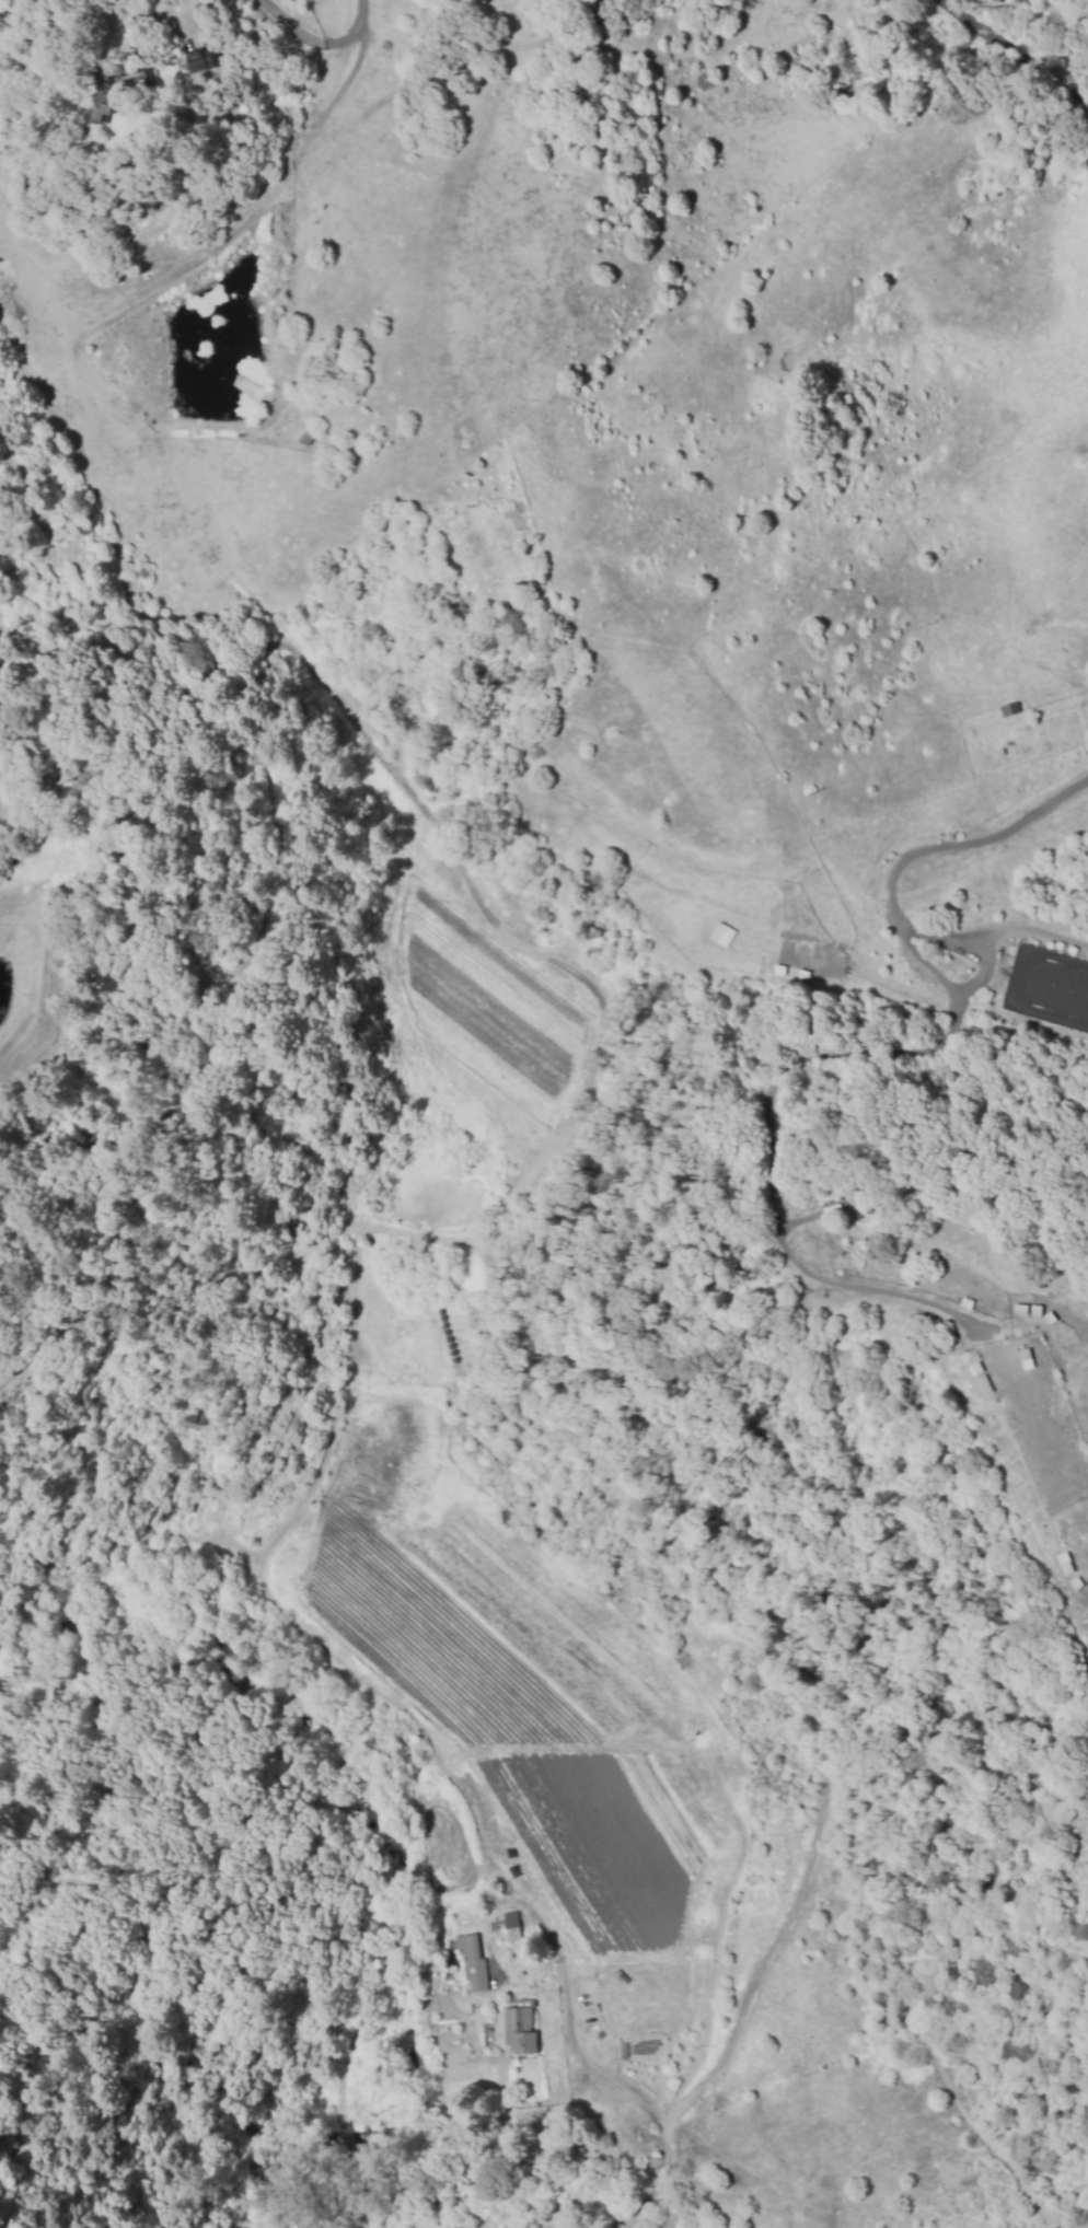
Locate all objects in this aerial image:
road: (1020, 53)
building: (200, 60)
building: (99, 112)
building: (1009, 710)
building: (720, 935)
building: (778, 971)
building: (801, 975)
building: (1035, 1310)
building: (974, 1368)
building: (983, 1384)
crop: (565, 1782)
building: (511, 1926)
building: (471, 1961)
building: (448, 1962)
building: (519, 2028)
building: (607, 2140)

